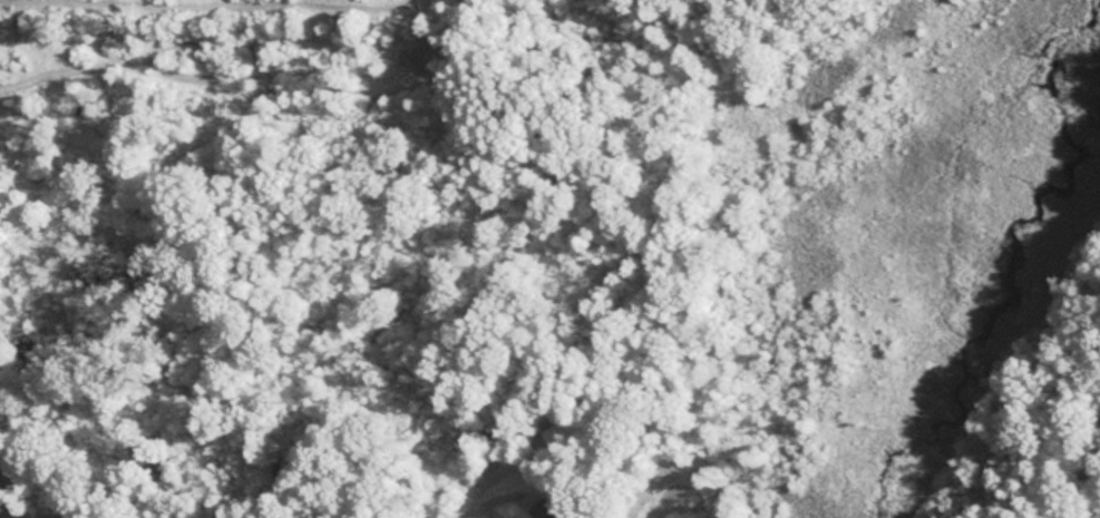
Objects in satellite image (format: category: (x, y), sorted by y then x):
building: (544, 509)
road: (60, 512)

